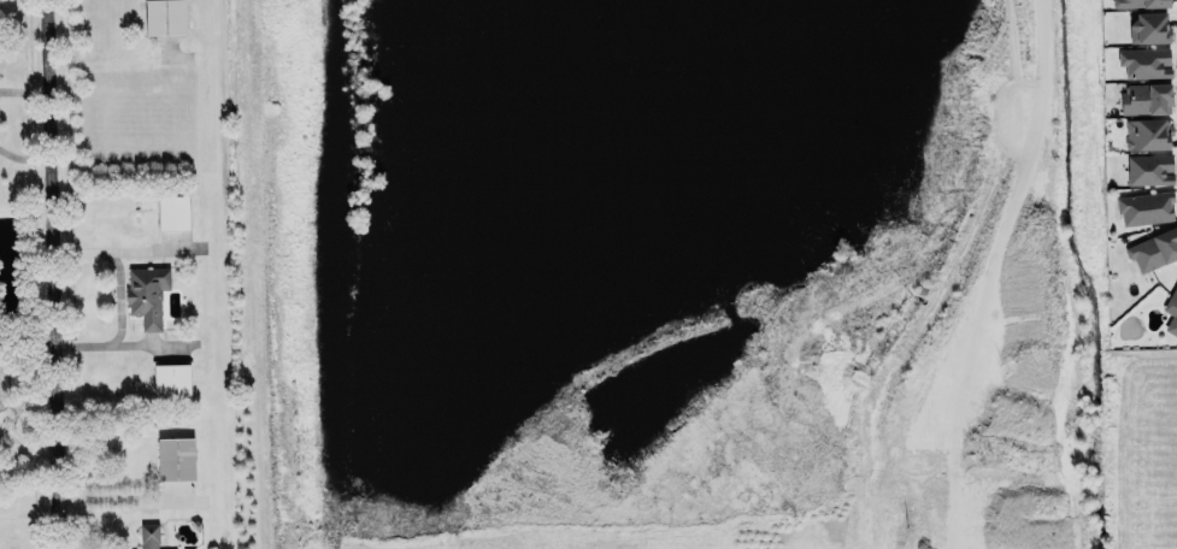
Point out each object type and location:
building: (1138, 2)
building: (164, 17)
building: (1148, 28)
building: (1144, 63)
road: (24, 89)
building: (1146, 98)
building: (1146, 134)
road: (24, 159)
building: (1148, 169)
building: (1144, 207)
building: (172, 211)
building: (1154, 249)
road: (116, 271)
road: (53, 274)
airport taxiway: (208, 274)
building: (146, 294)
building: (1171, 311)
road: (116, 343)
building: (171, 380)
building: (175, 457)
road: (125, 495)
road: (29, 506)
building: (148, 536)

